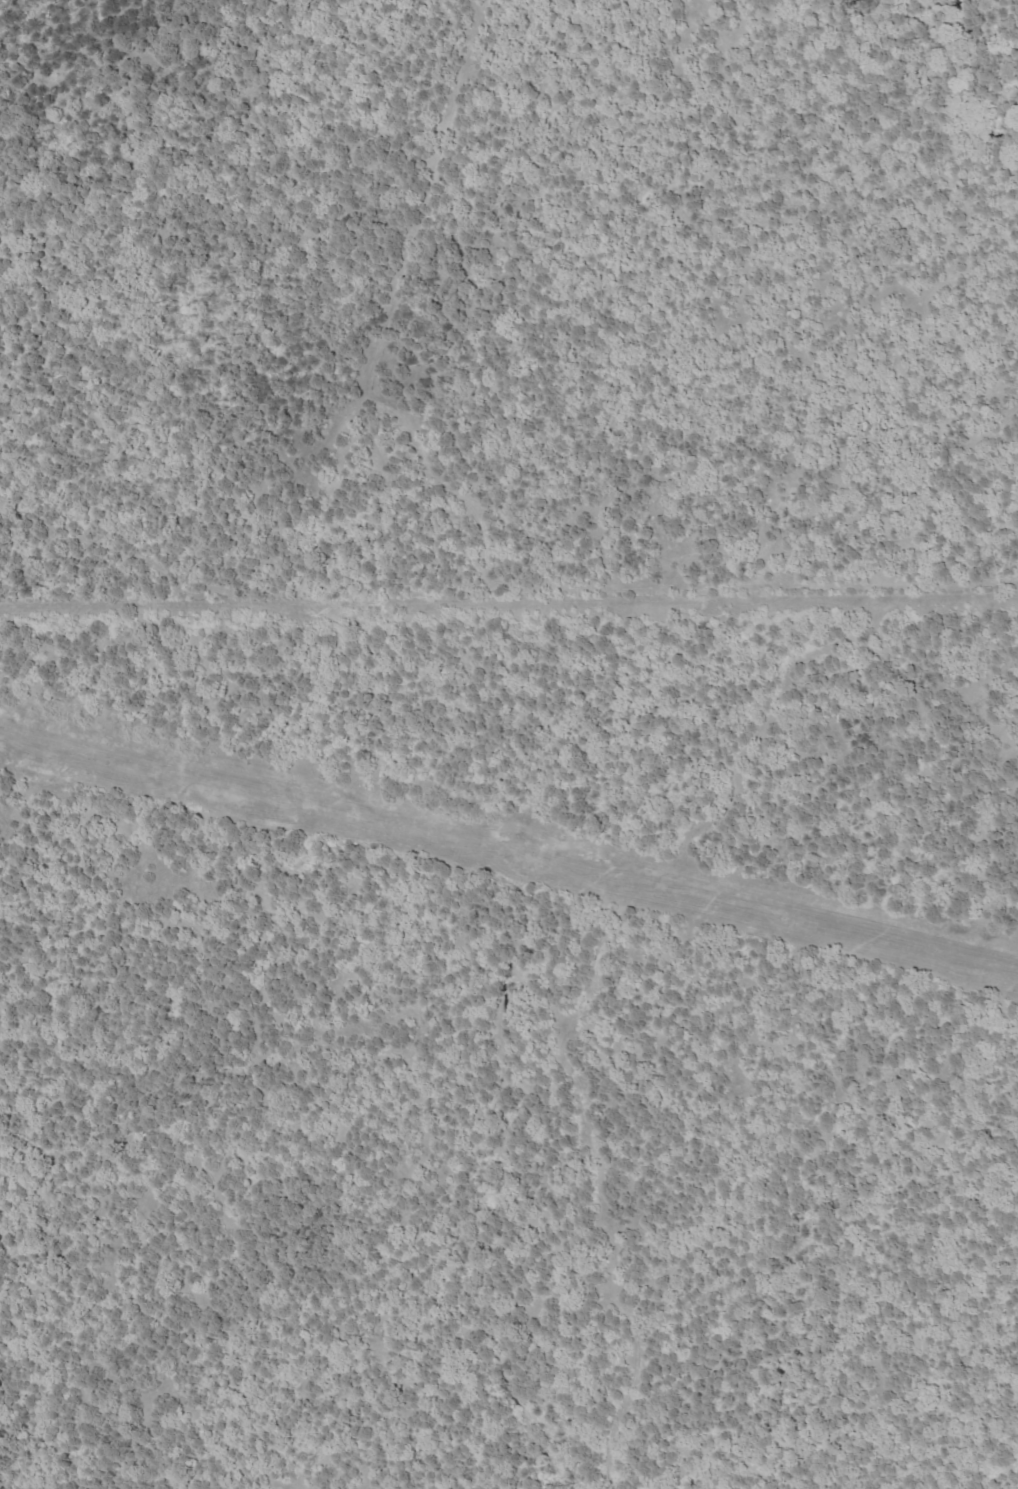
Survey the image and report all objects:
road: (966, 447)

